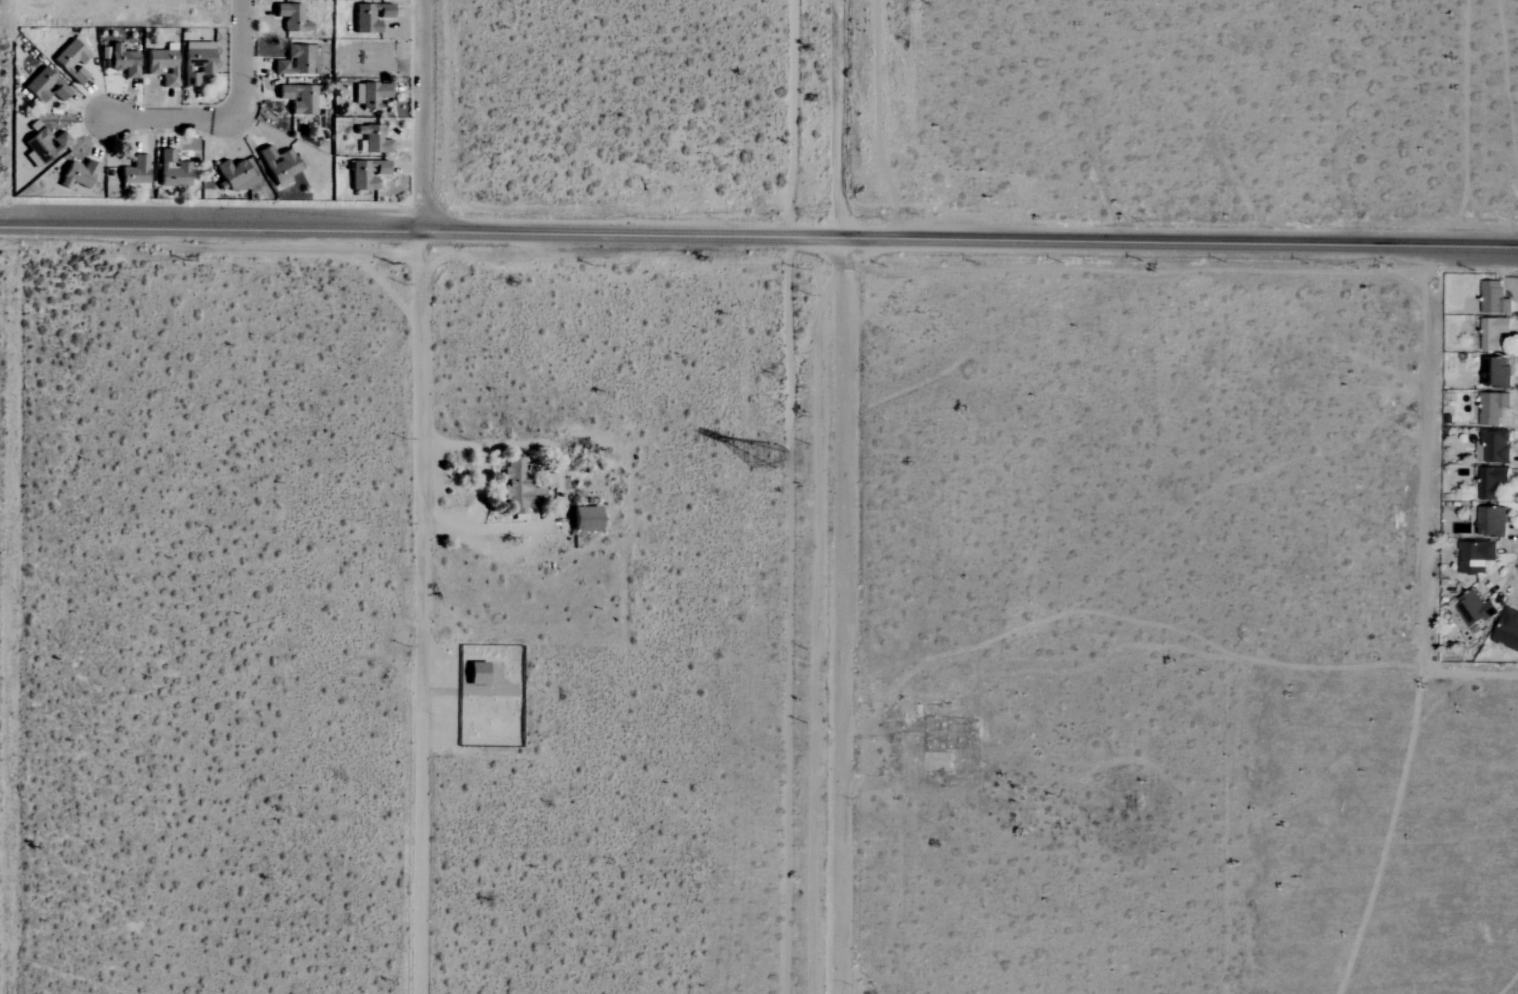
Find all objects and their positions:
building: (290, 17)
building: (364, 19)
road: (242, 59)
building: (122, 60)
building: (70, 61)
building: (44, 86)
building: (370, 94)
road: (430, 113)
road: (144, 116)
building: (277, 163)
building: (171, 170)
building: (366, 173)
building: (77, 174)
building: (134, 174)
building: (232, 175)
road: (758, 235)
building: (1494, 298)
building: (1493, 332)
building: (1497, 372)
building: (1492, 408)
road: (1435, 420)
building: (1493, 446)
power tower: (763, 454)
building: (1491, 482)
road: (562, 484)
building: (519, 487)
road: (485, 489)
road: (843, 496)
building: (583, 519)
building: (1490, 522)
building: (1475, 556)
road: (15, 607)
building: (1473, 609)
road: (427, 610)
building: (1507, 629)

